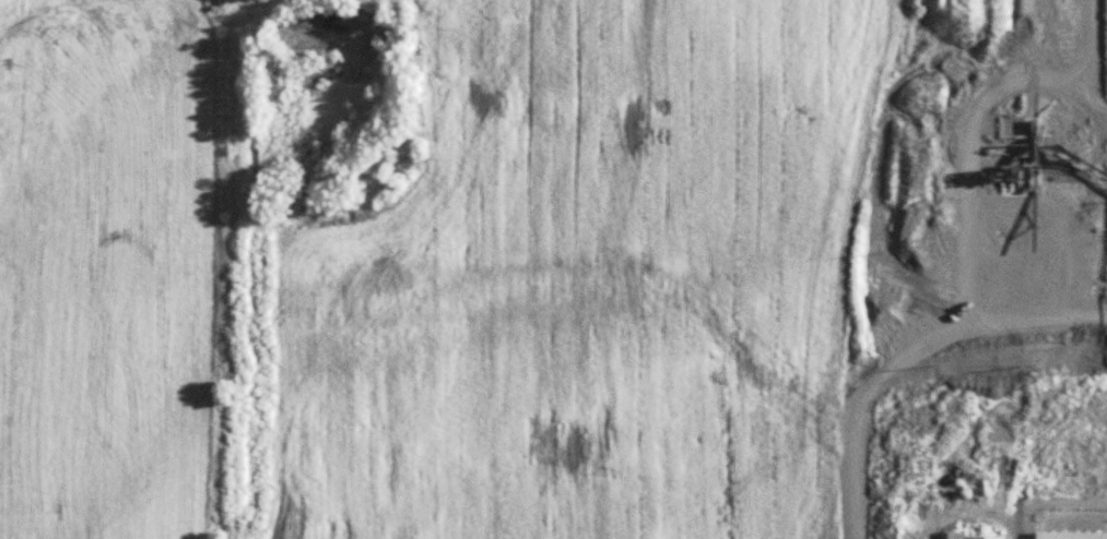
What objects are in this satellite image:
building: (1070, 535)
building: (976, 536)

